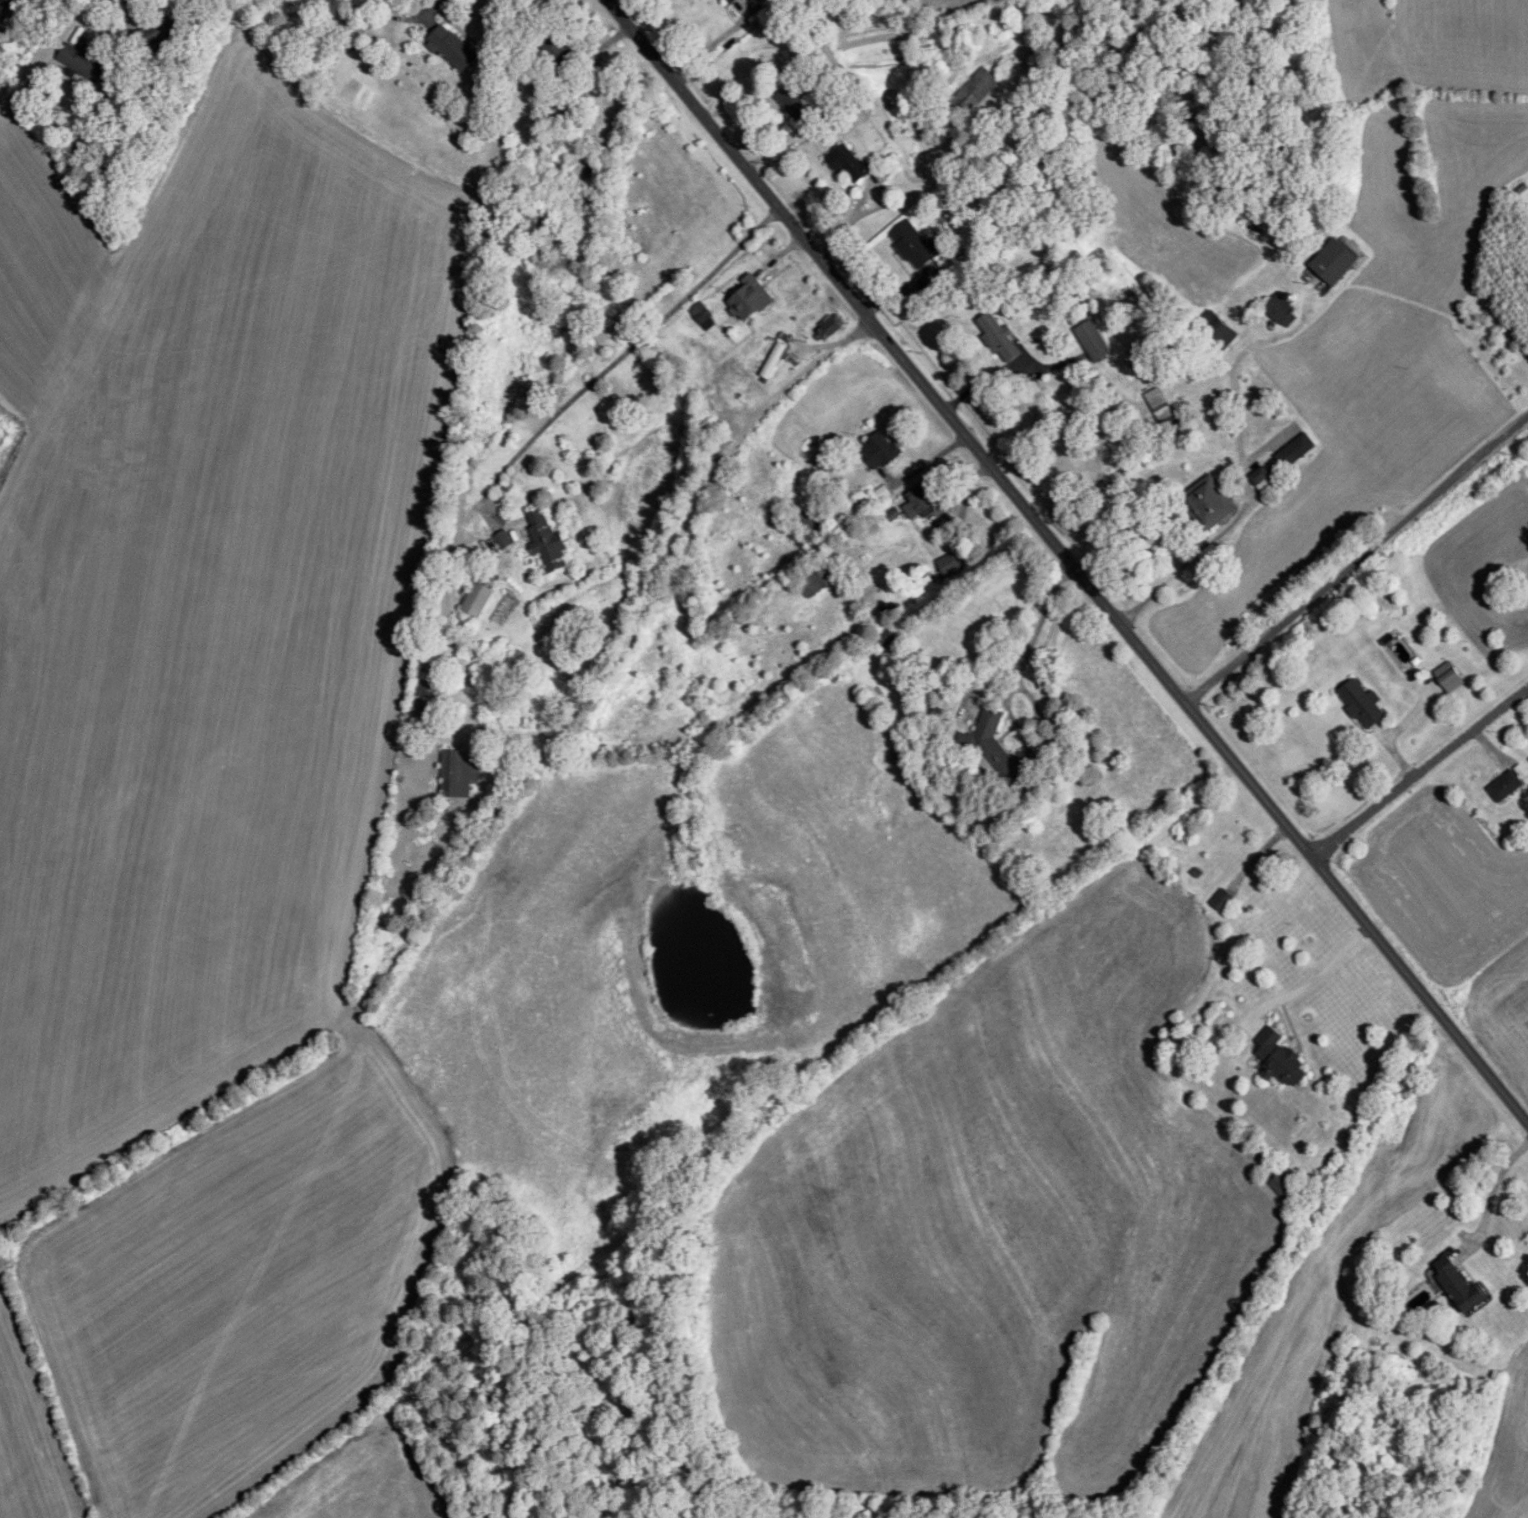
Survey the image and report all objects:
building: (731, 2)
road: (434, 5)
building: (4, 6)
building: (155, 33)
building: (451, 49)
building: (557, 53)
building: (82, 63)
building: (974, 91)
building: (793, 102)
building: (848, 164)
building: (913, 245)
building: (1332, 263)
building: (749, 299)
building: (1280, 312)
building: (830, 327)
building: (1220, 334)
building: (997, 336)
building: (1092, 341)
building: (773, 361)
road: (809, 365)
road: (605, 369)
road: (1234, 393)
building: (1156, 395)
building: (1294, 450)
building: (879, 451)
building: (1263, 481)
building: (917, 501)
building: (1208, 502)
building: (812, 520)
building: (545, 540)
road: (1355, 557)
road: (1064, 558)
road: (1186, 563)
building: (950, 564)
building: (818, 579)
building: (476, 599)
building: (884, 638)
road: (1018, 672)
building: (1448, 676)
building: (1362, 704)
building: (996, 748)
road: (1420, 767)
building: (459, 772)
building: (1222, 899)
road: (1313, 980)
building: (1279, 1058)
building: (1280, 1184)
road: (1491, 1195)
building: (1457, 1285)

